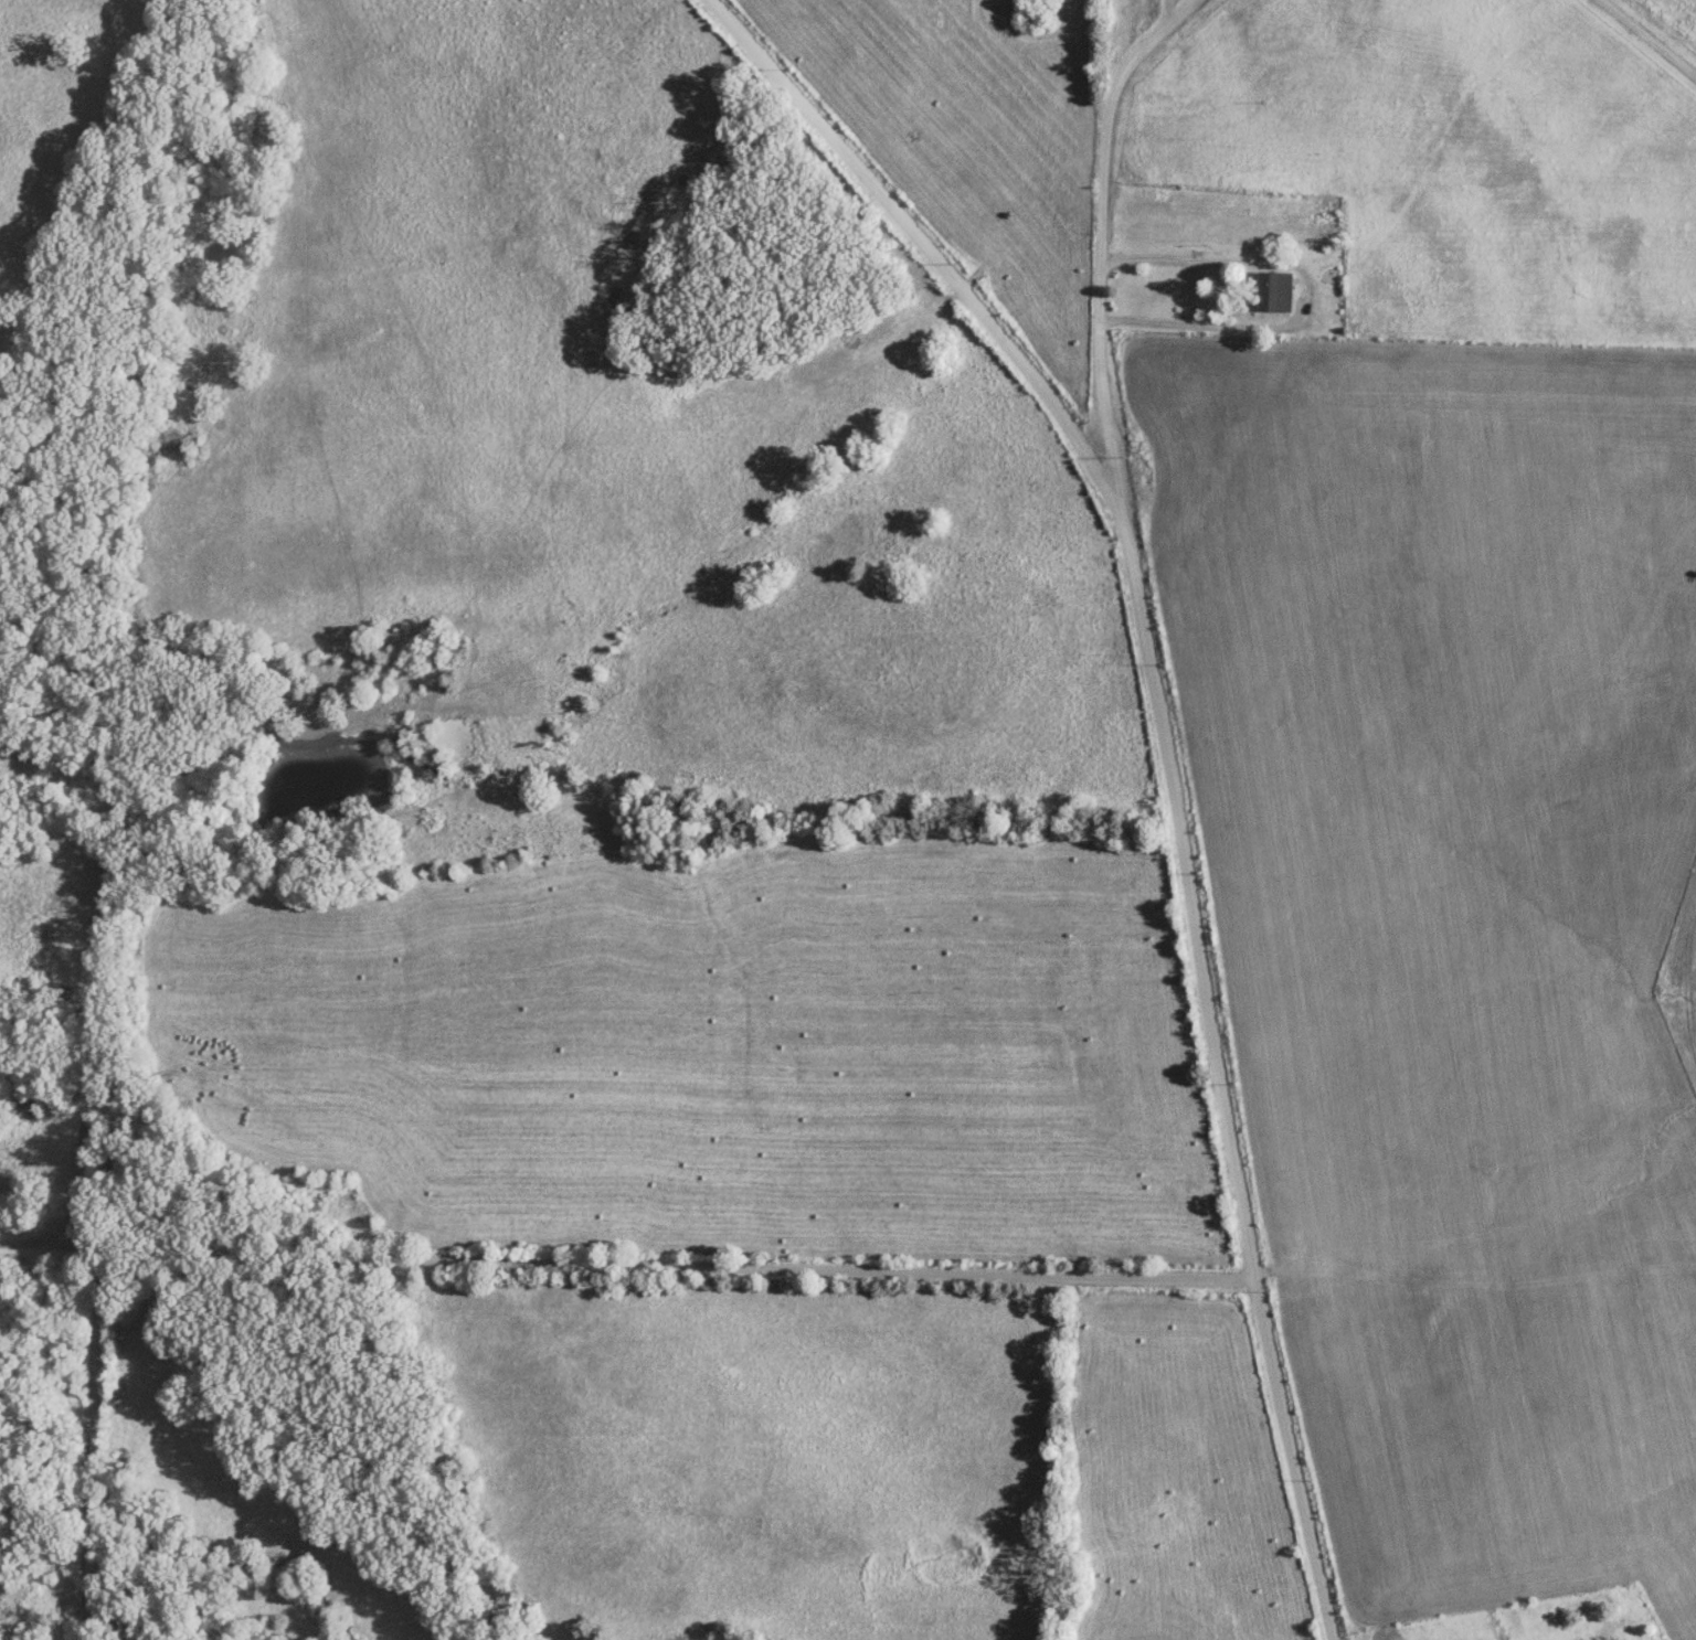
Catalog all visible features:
road: (1646, 40)
road: (1096, 241)
building: (1273, 291)
road: (1305, 291)
road: (1162, 755)
road: (486, 1259)

